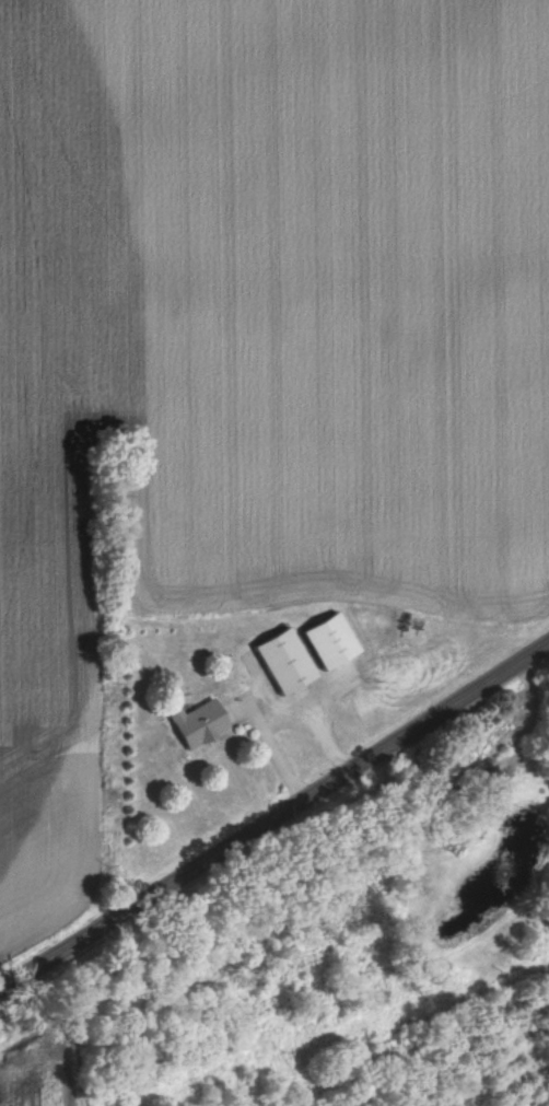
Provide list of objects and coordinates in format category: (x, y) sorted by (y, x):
building: (330, 641)
building: (283, 661)
building: (198, 722)
building: (479, 781)
road: (274, 827)

